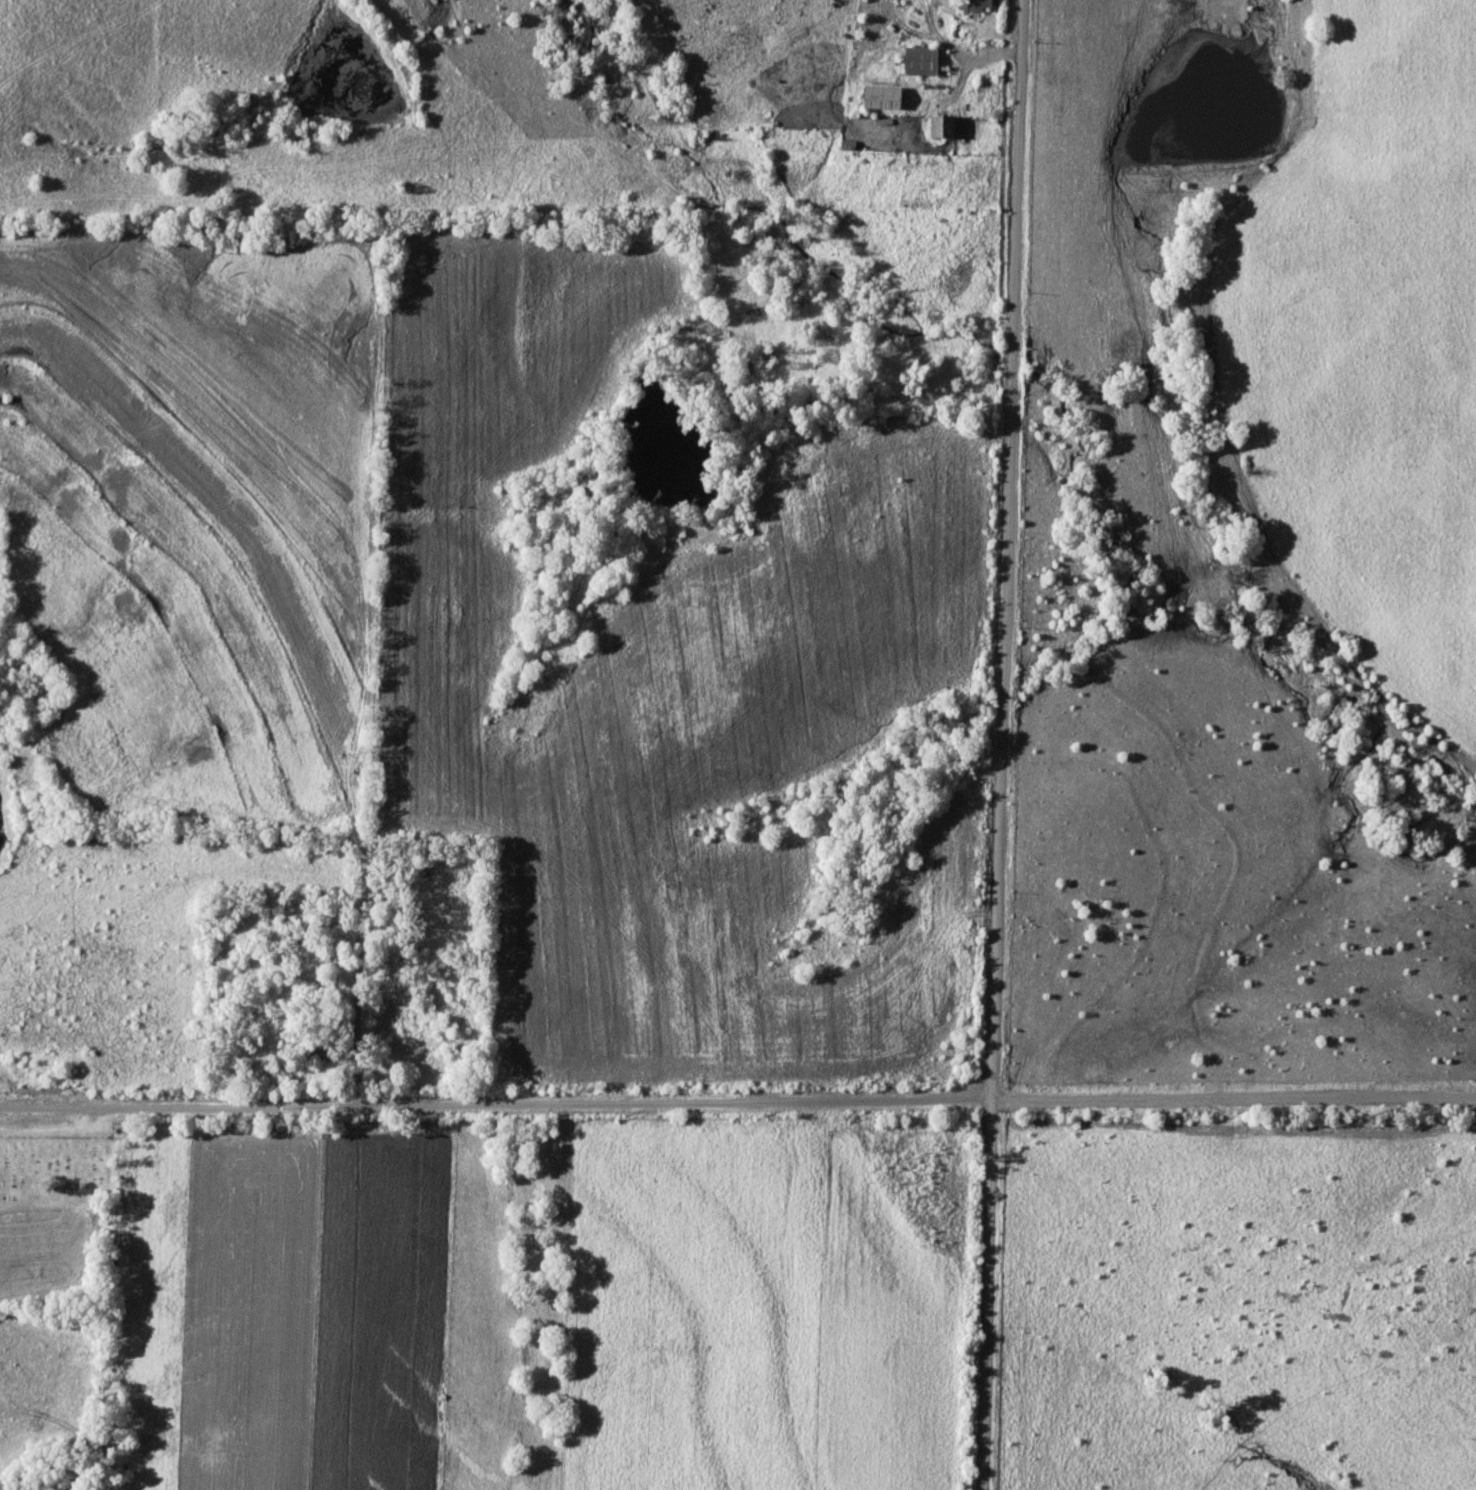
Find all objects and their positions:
building: (983, 4)
building: (920, 61)
building: (882, 97)
building: (937, 125)
road: (1001, 745)
road: (1233, 1099)
road: (495, 1104)
park: (54, 1224)

